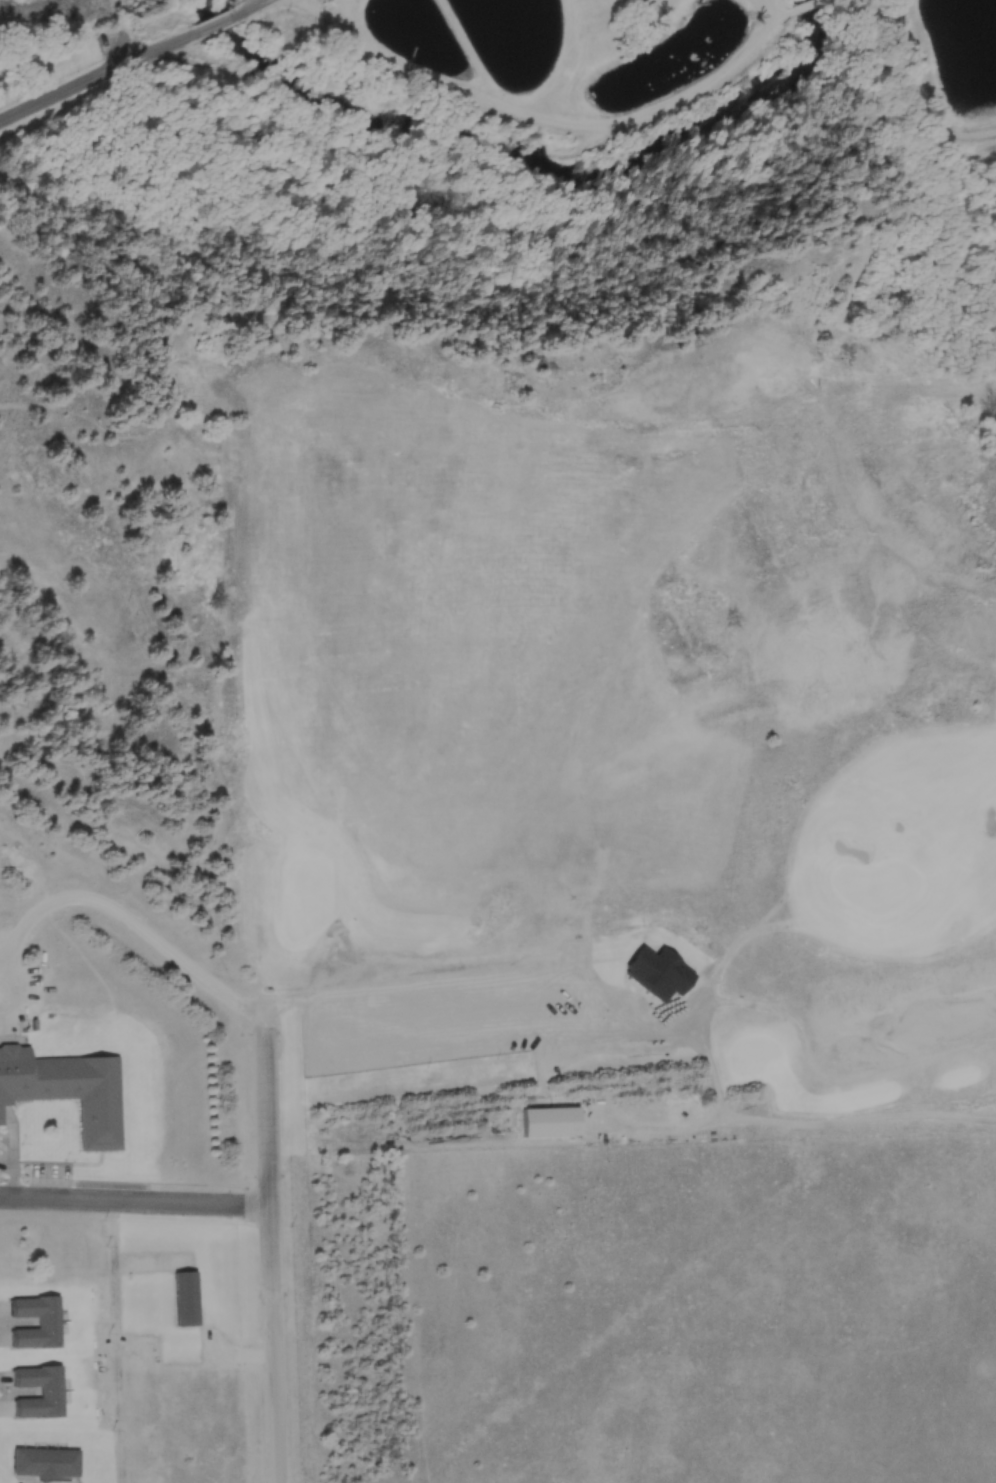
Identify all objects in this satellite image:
road: (824, 0)
road: (808, 6)
road: (252, 7)
road: (221, 22)
road: (778, 26)
road: (103, 76)
road: (551, 120)
building: (464, 825)
road: (337, 961)
building: (68, 1090)
road: (272, 1159)
road: (136, 1200)
building: (37, 1321)
road: (109, 1341)
building: (51, 1391)
road: (279, 1393)
building: (48, 1461)

